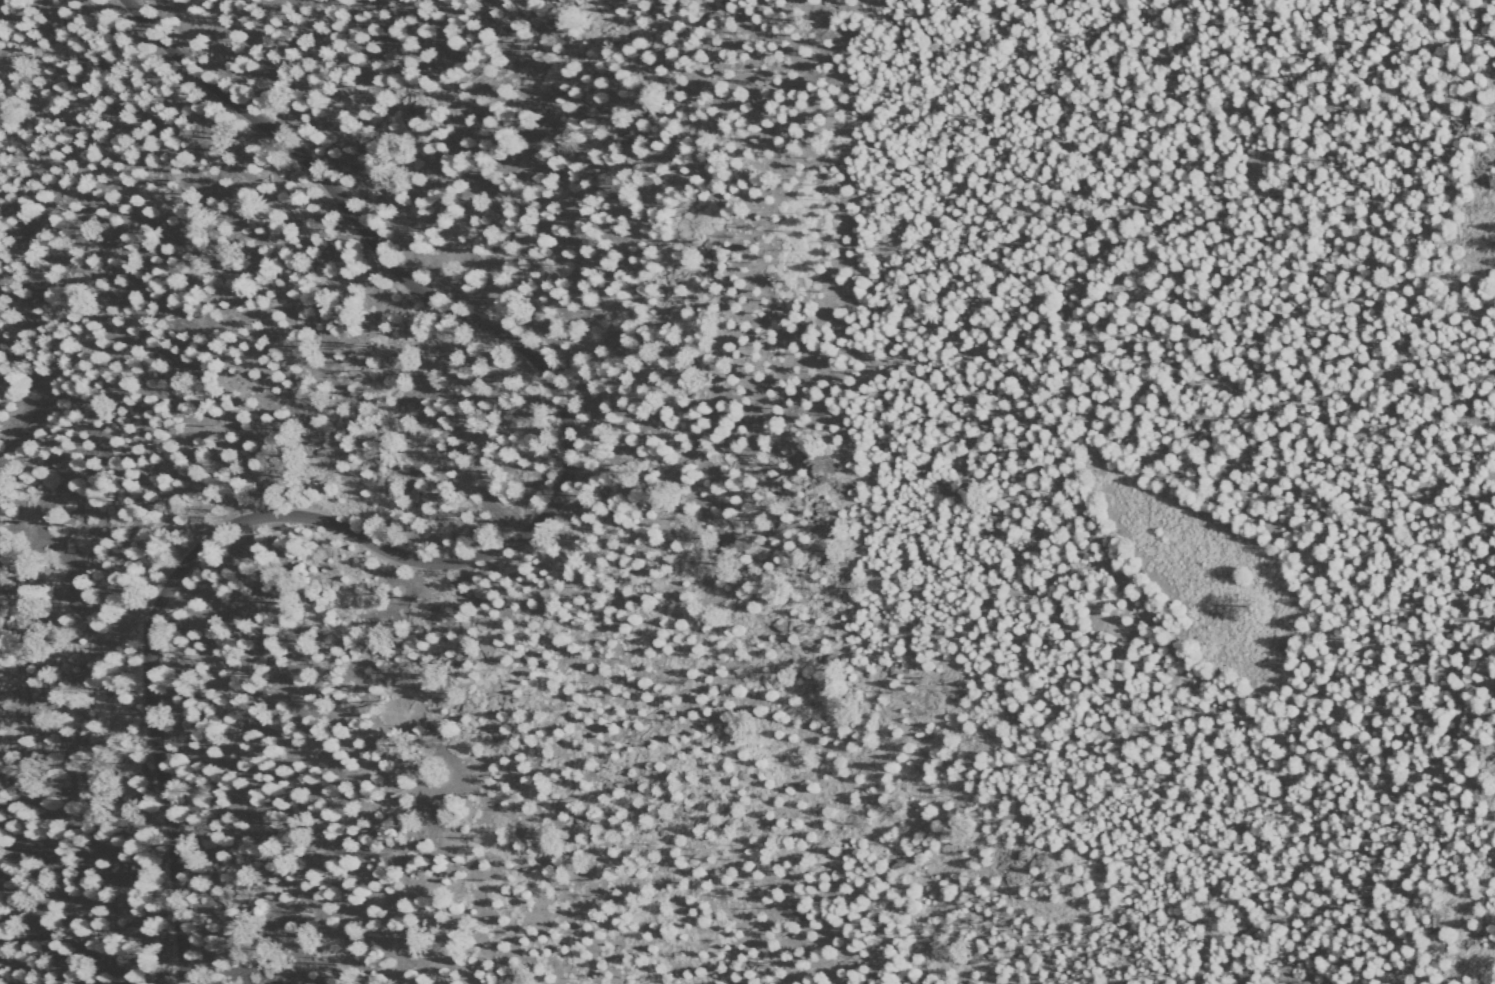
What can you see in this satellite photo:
road: (374, 247)
road: (1257, 476)
road: (500, 546)

